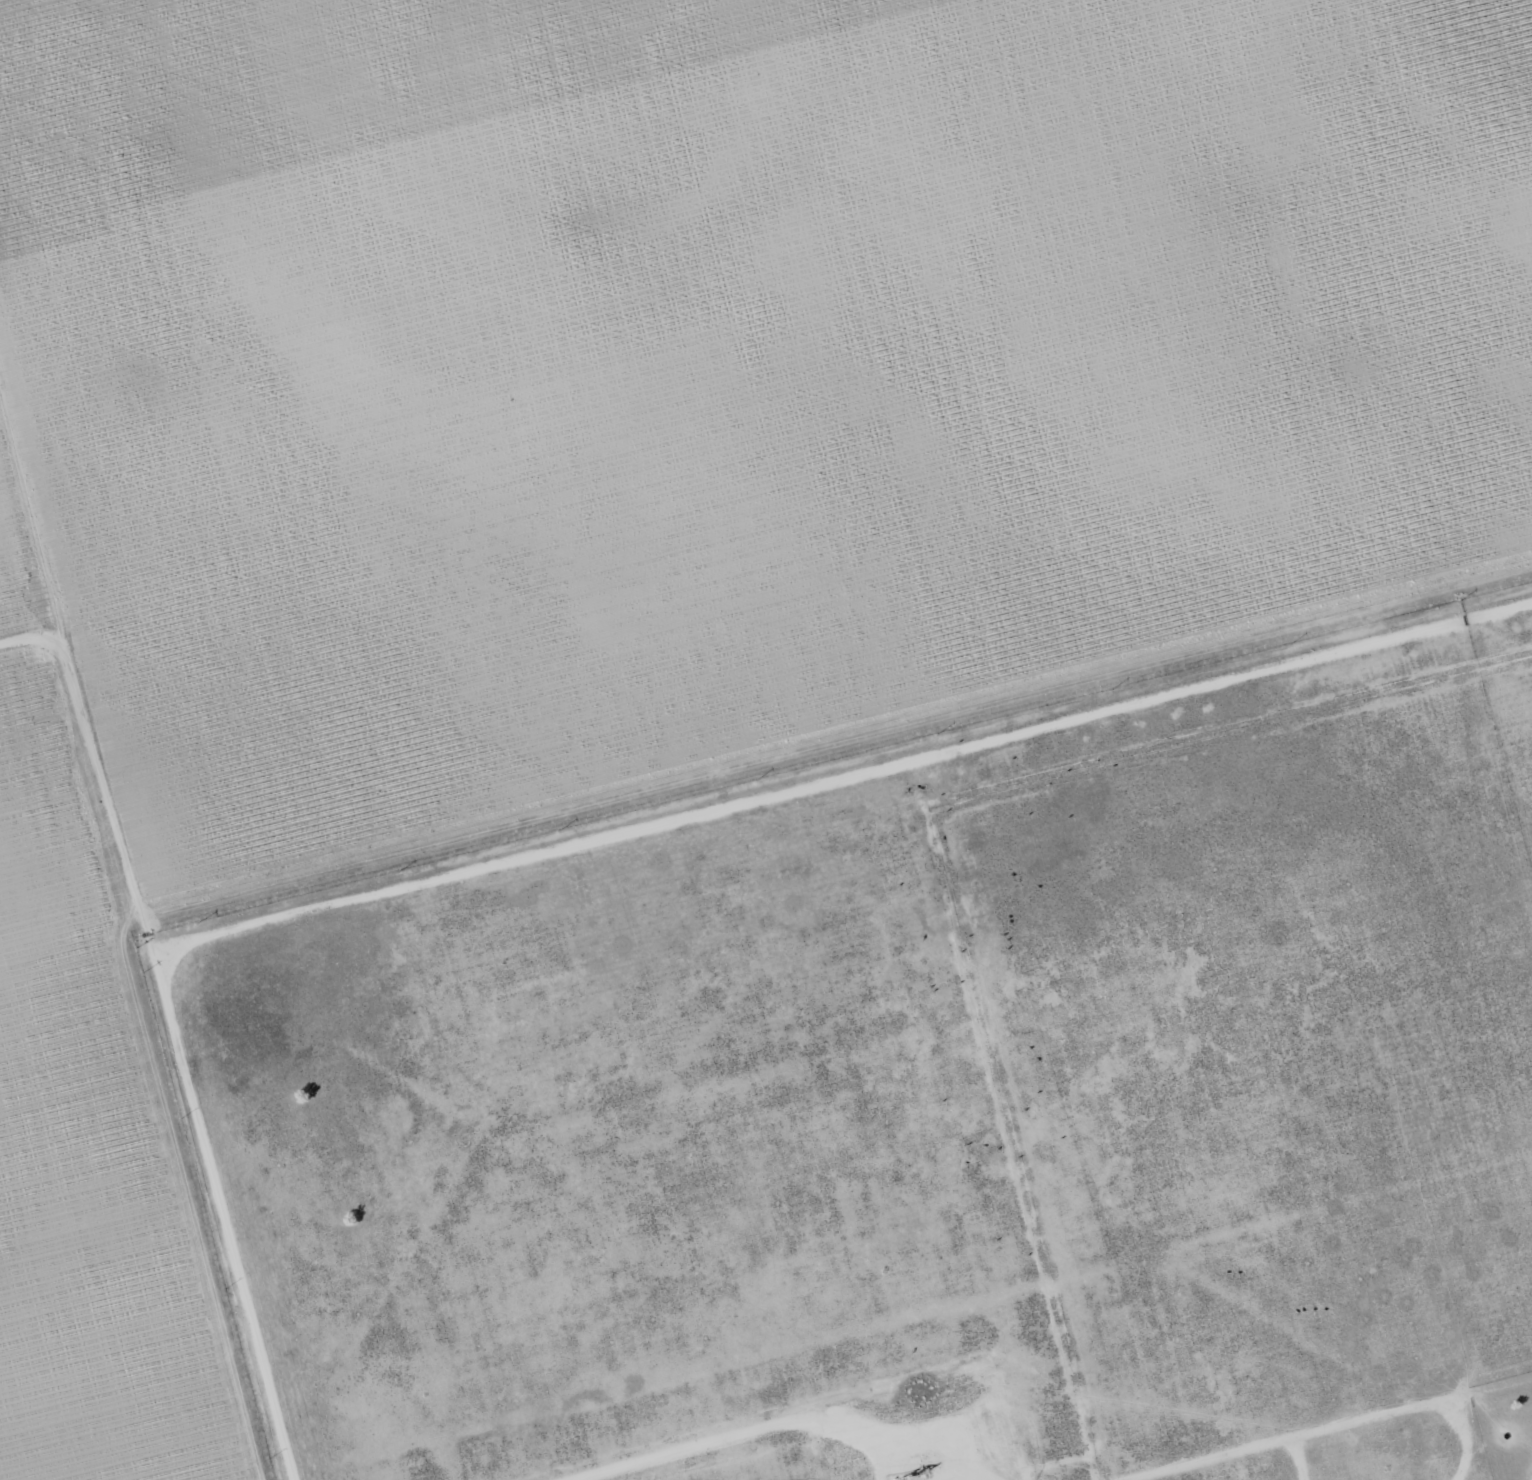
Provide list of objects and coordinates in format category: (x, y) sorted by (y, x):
river: (716, 705)

